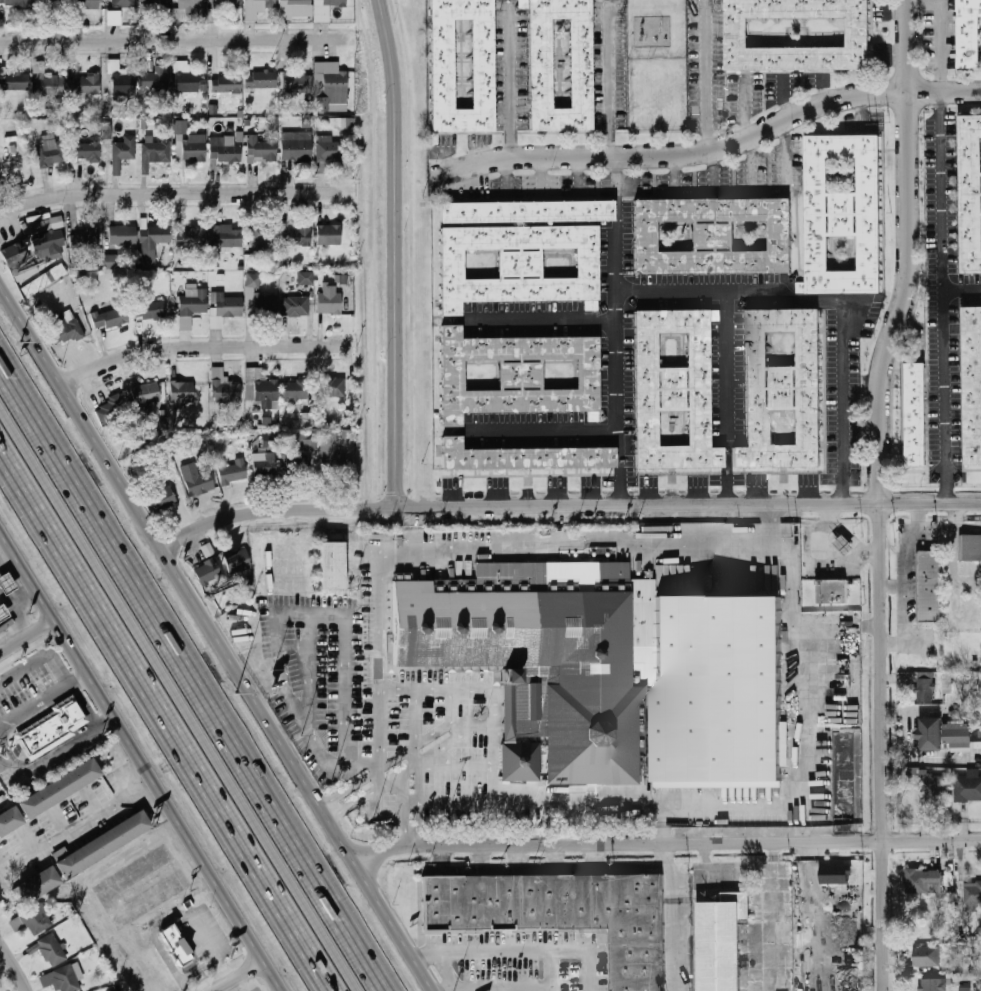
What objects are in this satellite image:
building: (14, 2)
building: (45, 2)
building: (122, 3)
building: (153, 3)
building: (84, 4)
road: (937, 5)
building: (256, 7)
building: (294, 8)
building: (185, 9)
building: (324, 9)
building: (112, 17)
building: (737, 32)
building: (969, 33)
road: (173, 42)
road: (939, 52)
building: (578, 64)
building: (482, 65)
building: (186, 78)
road: (509, 78)
road: (611, 78)
building: (120, 79)
building: (260, 79)
road: (707, 79)
building: (14, 80)
building: (43, 80)
building: (152, 81)
building: (297, 82)
building: (225, 83)
building: (87, 85)
building: (329, 87)
road: (781, 96)
road: (742, 105)
building: (338, 123)
building: (180, 126)
building: (106, 131)
building: (10, 133)
building: (295, 145)
building: (190, 147)
building: (260, 149)
building: (326, 149)
building: (50, 151)
building: (86, 151)
road: (709, 151)
building: (122, 152)
building: (154, 152)
road: (749, 164)
road: (712, 170)
road: (675, 172)
road: (731, 191)
building: (970, 192)
road: (172, 196)
building: (519, 211)
building: (842, 213)
building: (47, 224)
building: (328, 234)
building: (122, 235)
building: (191, 236)
building: (226, 236)
building: (264, 236)
building: (296, 237)
building: (713, 238)
building: (84, 239)
building: (152, 243)
building: (48, 245)
road: (376, 247)
building: (15, 253)
road: (394, 253)
building: (214, 260)
building: (250, 260)
building: (111, 261)
building: (517, 265)
road: (413, 266)
building: (25, 271)
building: (305, 278)
building: (43, 280)
building: (252, 280)
building: (79, 282)
road: (961, 288)
road: (5, 292)
road: (941, 296)
building: (328, 299)
road: (826, 301)
building: (259, 303)
building: (191, 304)
building: (295, 306)
building: (224, 307)
building: (149, 310)
building: (108, 318)
road: (542, 318)
building: (65, 326)
road: (617, 330)
road: (205, 348)
road: (727, 368)
building: (516, 376)
building: (971, 383)
building: (223, 386)
building: (330, 386)
building: (260, 388)
building: (782, 389)
building: (295, 390)
building: (181, 391)
building: (674, 391)
building: (145, 394)
building: (111, 410)
building: (916, 413)
building: (307, 419)
road: (545, 430)
building: (271, 440)
building: (306, 442)
building: (328, 449)
building: (523, 457)
building: (264, 461)
building: (231, 470)
building: (195, 479)
road: (352, 479)
road: (877, 493)
building: (161, 499)
road: (567, 506)
road: (770, 524)
road: (562, 527)
road: (412, 530)
road: (907, 543)
building: (844, 544)
building: (969, 547)
road: (471, 550)
building: (237, 560)
building: (331, 566)
road: (27, 572)
building: (207, 573)
building: (7, 583)
building: (927, 586)
road: (16, 591)
building: (831, 591)
road: (11, 612)
building: (3, 613)
road: (275, 613)
road: (382, 613)
road: (902, 613)
road: (27, 631)
road: (216, 637)
road: (70, 642)
road: (38, 660)
building: (611, 671)
road: (77, 675)
road: (192, 675)
road: (67, 681)
building: (925, 686)
road: (99, 693)
road: (179, 696)
road: (32, 702)
road: (83, 703)
road: (166, 719)
road: (105, 721)
road: (287, 725)
building: (53, 729)
building: (930, 733)
building: (957, 734)
road: (41, 761)
building: (931, 782)
road: (350, 785)
building: (968, 786)
building: (60, 788)
road: (354, 799)
road: (763, 801)
building: (10, 819)
road: (657, 824)
road: (76, 825)
road: (418, 828)
road: (407, 829)
building: (102, 844)
road: (685, 845)
road: (367, 849)
road: (197, 853)
road: (378, 865)
building: (835, 874)
building: (923, 881)
building: (40, 883)
building: (972, 895)
building: (563, 913)
road: (670, 918)
building: (32, 920)
road: (194, 923)
building: (718, 945)
building: (177, 946)
building: (49, 950)
road: (483, 951)
road: (568, 952)
building: (927, 956)
road: (5, 960)
road: (169, 962)
road: (15, 965)
road: (200, 969)
road: (240, 975)
building: (68, 977)
building: (933, 984)
road: (184, 986)
road: (500, 988)
building: (965, 989)

